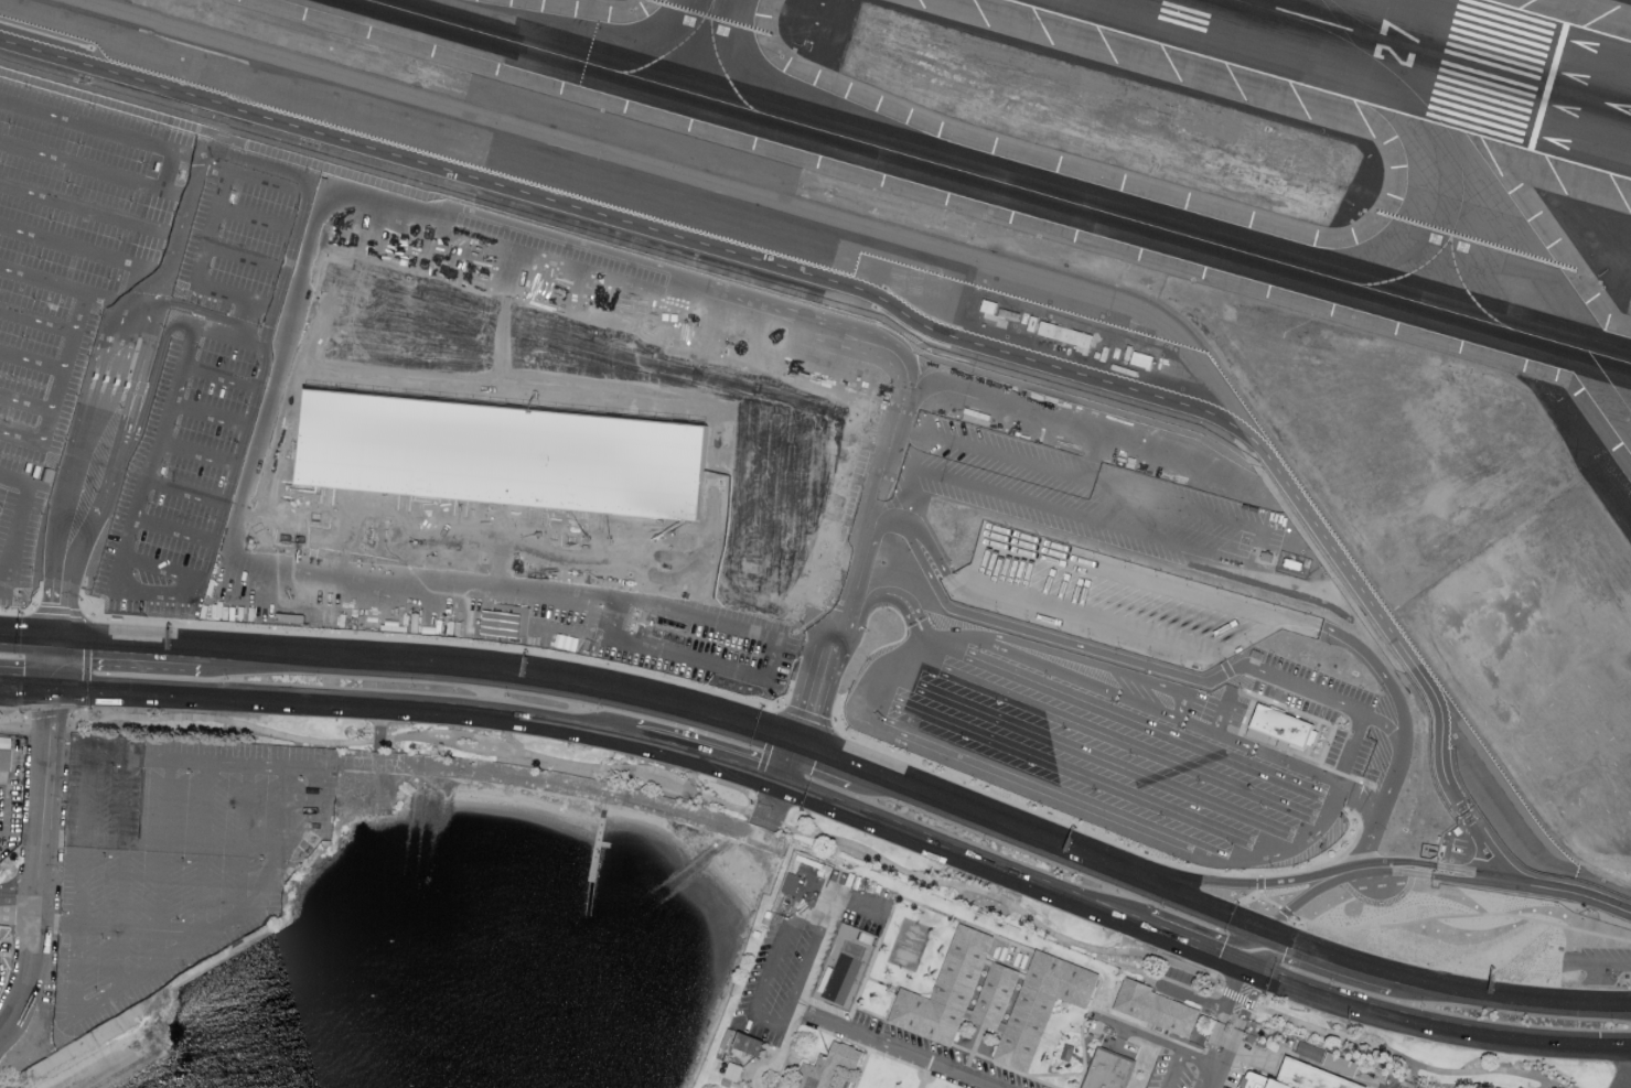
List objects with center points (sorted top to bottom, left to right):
airport taxiway: (1338, 22)
airport taxiway: (1375, 30)
airport taxiway: (673, 50)
airport runway: (1438, 55)
airport taxiway: (721, 65)
airport taxiway: (1413, 90)
airport taxiway: (978, 175)
road: (328, 197)
airport taxiway: (1407, 276)
road: (845, 282)
road: (656, 294)
airport taxiway: (1469, 294)
road: (455, 304)
building: (987, 305)
building: (1008, 313)
building: (1031, 322)
building: (1064, 334)
parking lot: (218, 349)
building: (1139, 358)
airport taxiway: (1609, 359)
road: (670, 363)
airport taxiway: (1609, 384)
airport: (888, 387)
building: (504, 454)
road: (73, 506)
building: (854, 520)
road: (564, 548)
road: (288, 564)
road: (846, 564)
road: (843, 589)
road: (1201, 592)
road: (1139, 597)
road: (900, 602)
traffic signals: (55, 603)
road: (301, 604)
road: (1182, 611)
road: (30, 613)
road: (889, 615)
road: (1300, 621)
road: (1221, 623)
parking lot: (801, 627)
road: (55, 629)
road: (433, 631)
road: (1099, 631)
road: (28, 637)
parking lot: (695, 639)
traffic signals: (92, 647)
road: (1147, 647)
road: (128, 649)
road: (1185, 659)
road: (504, 671)
road: (54, 672)
road: (1225, 672)
road: (818, 677)
road: (1384, 677)
traffic signals: (17, 682)
road: (25, 682)
road: (69, 685)
road: (160, 690)
road: (1155, 697)
road: (426, 704)
road: (1060, 707)
traffic signals: (51, 708)
road: (50, 710)
traffic signals: (809, 710)
road: (24, 715)
road: (219, 719)
building: (1283, 725)
road: (1388, 729)
road: (430, 730)
road: (377, 731)
building: (1266, 736)
road: (451, 737)
road: (433, 741)
road: (1354, 743)
road: (701, 750)
parking lot: (1095, 751)
road: (489, 752)
traffic signals: (816, 755)
road: (1095, 756)
building: (7, 761)
road: (837, 762)
traffic signals: (754, 766)
road: (620, 767)
road: (550, 780)
road: (781, 782)
road: (43, 785)
road: (655, 785)
road: (1030, 789)
traffic signals: (773, 798)
road: (204, 800)
road: (245, 802)
road: (285, 806)
road: (2, 817)
road: (983, 817)
road: (313, 818)
road: (1352, 819)
road: (1319, 826)
pier: (600, 837)
road: (929, 837)
pier: (599, 840)
road: (1489, 848)
road: (1405, 862)
building: (813, 866)
road: (1457, 869)
road: (1351, 870)
road: (1401, 871)
road: (1451, 876)
road: (1206, 882)
building: (791, 883)
road: (1554, 890)
road: (1176, 895)
road: (849, 898)
road: (18, 900)
road: (198, 903)
road: (1011, 905)
road: (981, 907)
road: (159, 914)
road: (943, 915)
road: (118, 925)
road: (1158, 927)
road: (103, 929)
road: (33, 933)
road: (1212, 934)
park: (909, 945)
parking lot: (805, 949)
road: (870, 961)
building: (988, 962)
park: (844, 967)
road: (1606, 968)
building: (1022, 976)
road: (881, 984)
road: (1352, 984)
parking lot: (1181, 987)
road: (1445, 988)
building: (945, 991)
road: (1228, 991)
road: (1193, 992)
building: (995, 995)
road: (1254, 1000)
building: (1041, 1006)
building: (1155, 1009)
road: (870, 1013)
building: (968, 1015)
road: (755, 1017)
road: (1431, 1020)
road: (1083, 1024)
building: (1001, 1027)
road: (1147, 1031)
road: (878, 1036)
building: (726, 1037)
road: (786, 1038)
road: (1151, 1039)
traffic signals: (1600, 1041)
building: (748, 1042)
road: (1216, 1044)
road: (893, 1046)
road: (1228, 1048)
road: (972, 1049)
building: (1309, 1051)
building: (1066, 1053)
road: (1077, 1058)
road: (1406, 1058)
road: (1199, 1059)
road: (990, 1060)
building: (1341, 1064)
road: (770, 1067)
building: (826, 1067)
road: (860, 1069)
building: (732, 1070)
building: (1108, 1070)
road: (1174, 1070)
parking lot: (1190, 1073)
road: (1058, 1076)
airport hangar: (1310, 1076)
building: (1310, 1076)
road: (1212, 1077)
building: (726, 1081)
airport hangar: (1257, 1081)
building: (1257, 1081)
road: (931, 1082)
road: (1041, 1082)
road: (1452, 1082)
airport hangar: (1278, 1085)
building: (1278, 1085)
road: (921, 1086)
road: (1550, 1086)
building: (1419, 1087)

